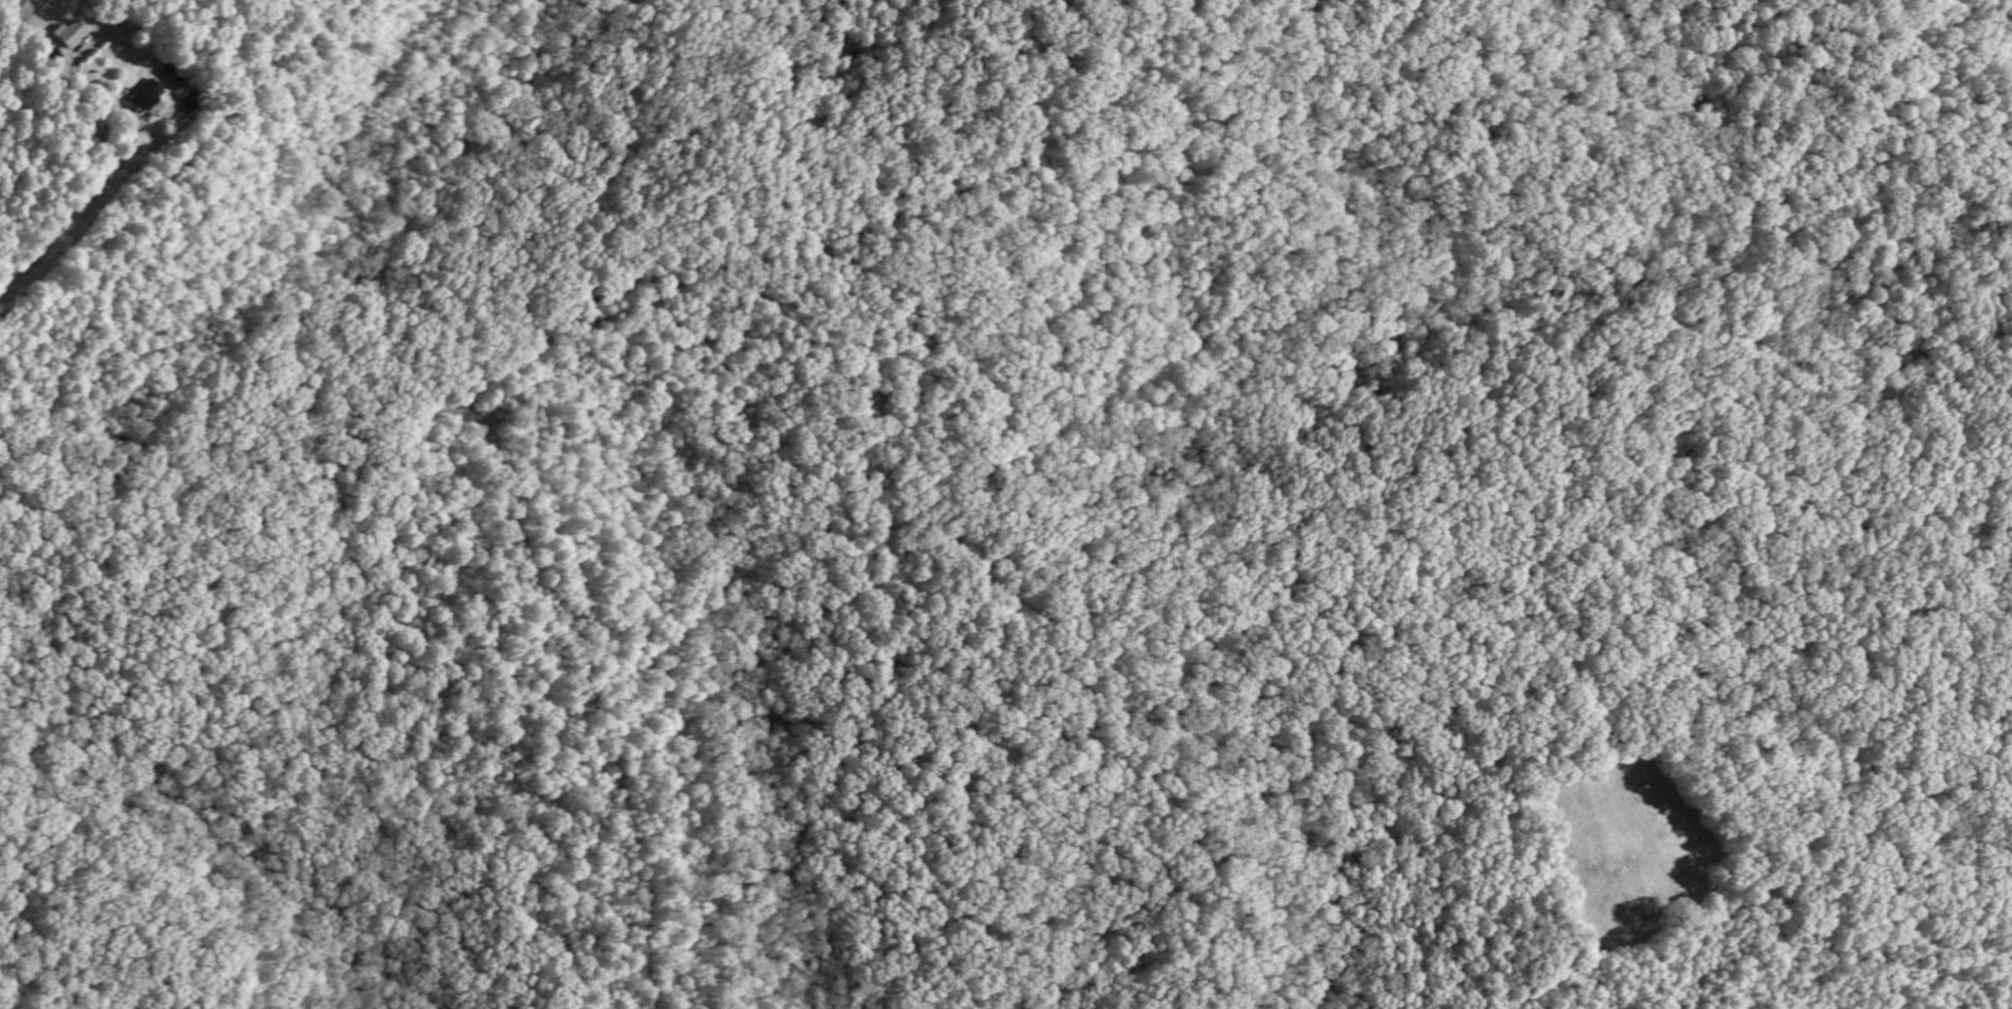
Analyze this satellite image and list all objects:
road: (1996, 3)
building: (71, 35)
road: (1099, 83)
building: (150, 97)
road: (1054, 153)
road: (81, 230)
road: (210, 452)

